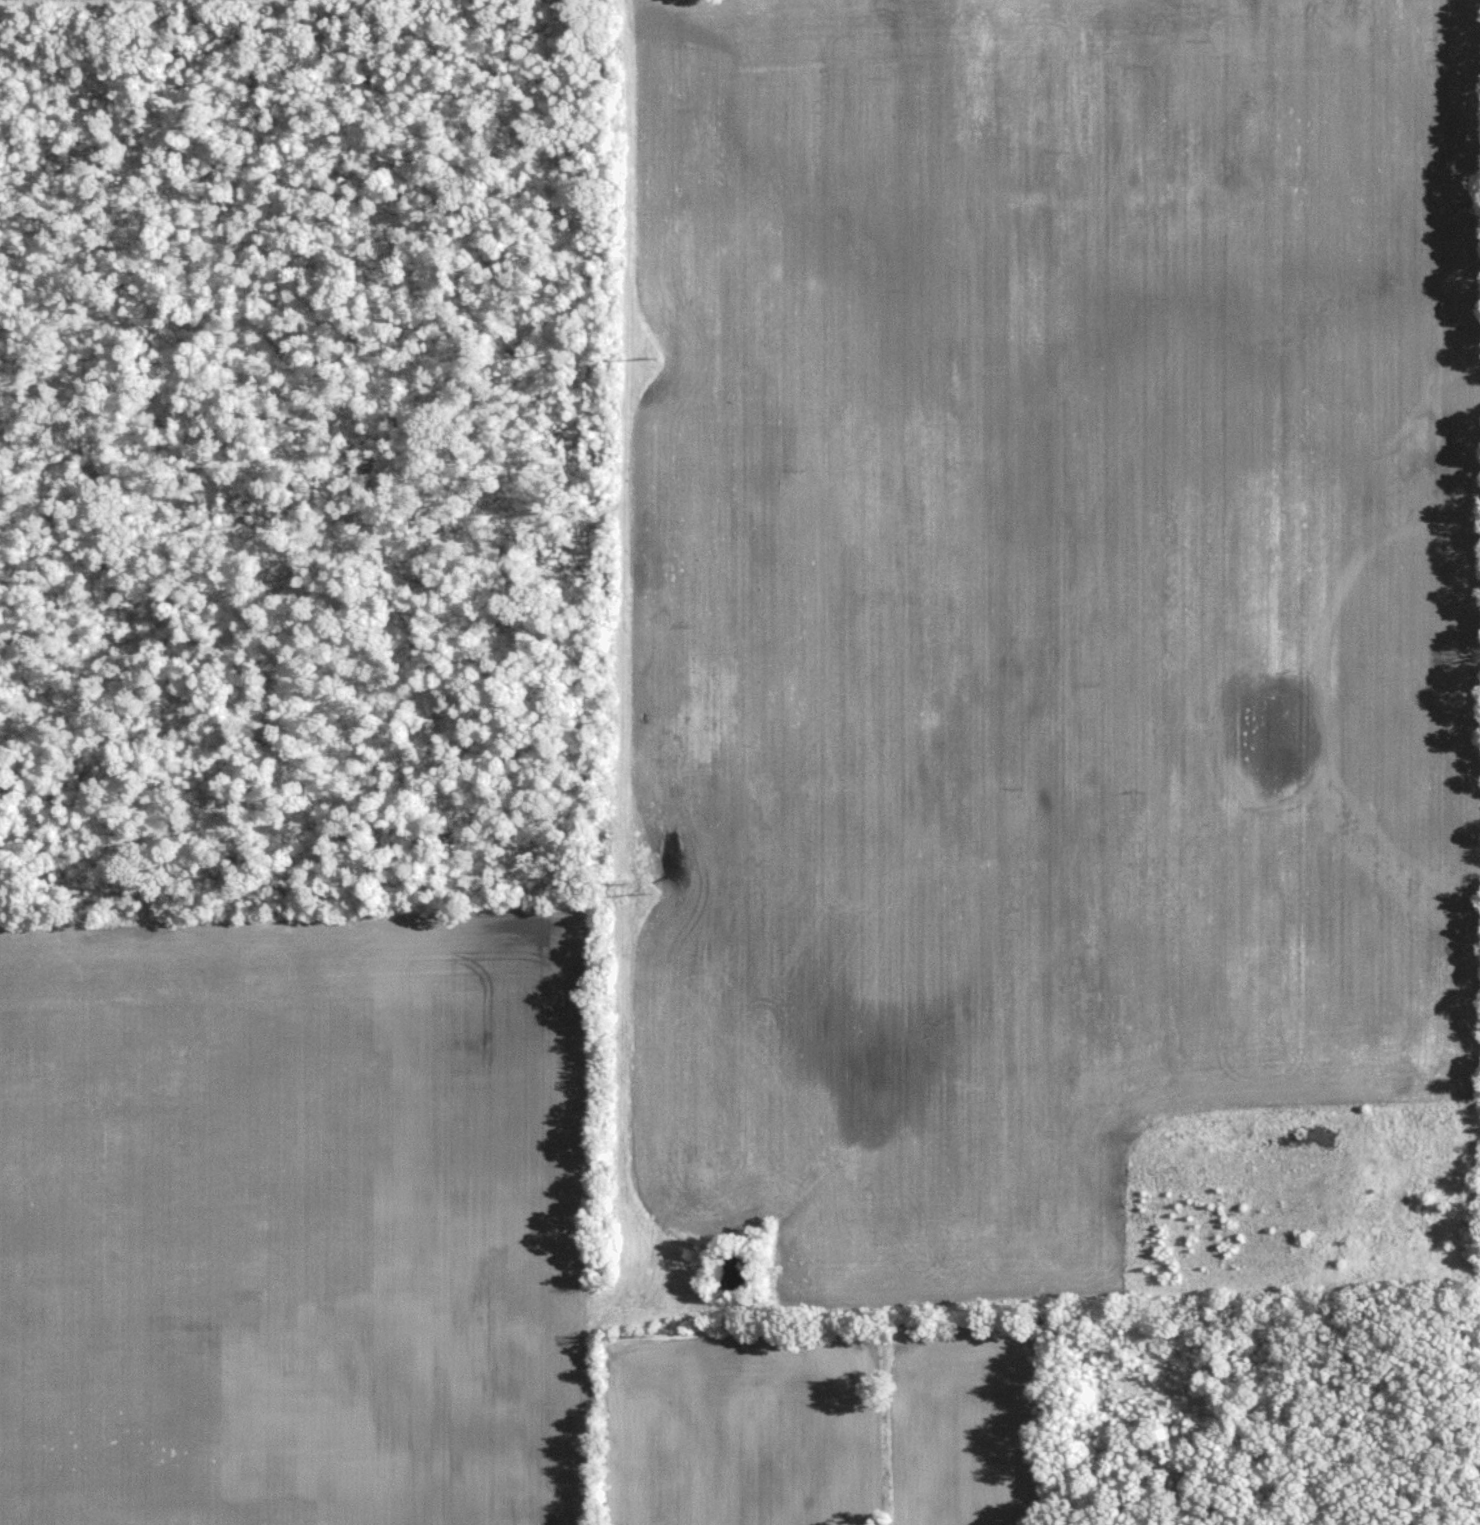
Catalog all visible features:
power tower: (663, 359)
power tower: (660, 894)
power tower: (663, 1335)

